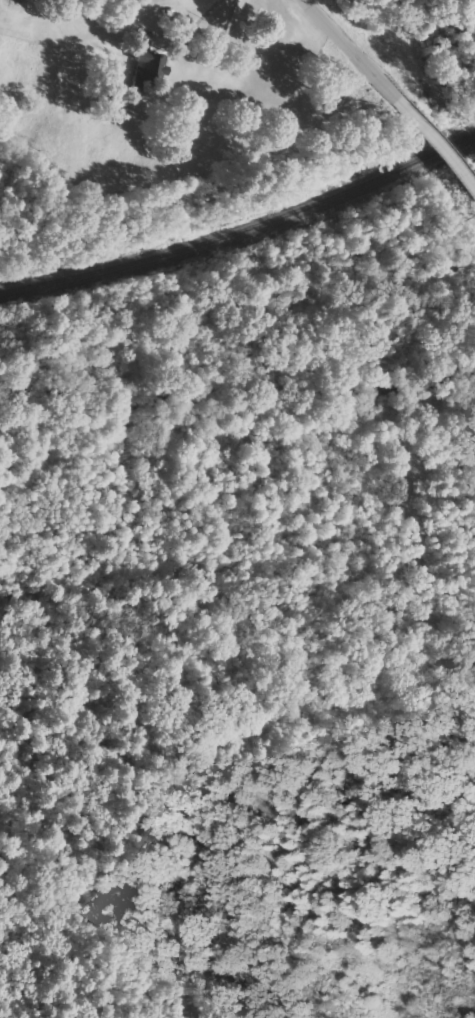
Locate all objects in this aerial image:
road: (349, 51)
building: (147, 67)
road: (433, 148)
road: (474, 193)
railway: (242, 228)

